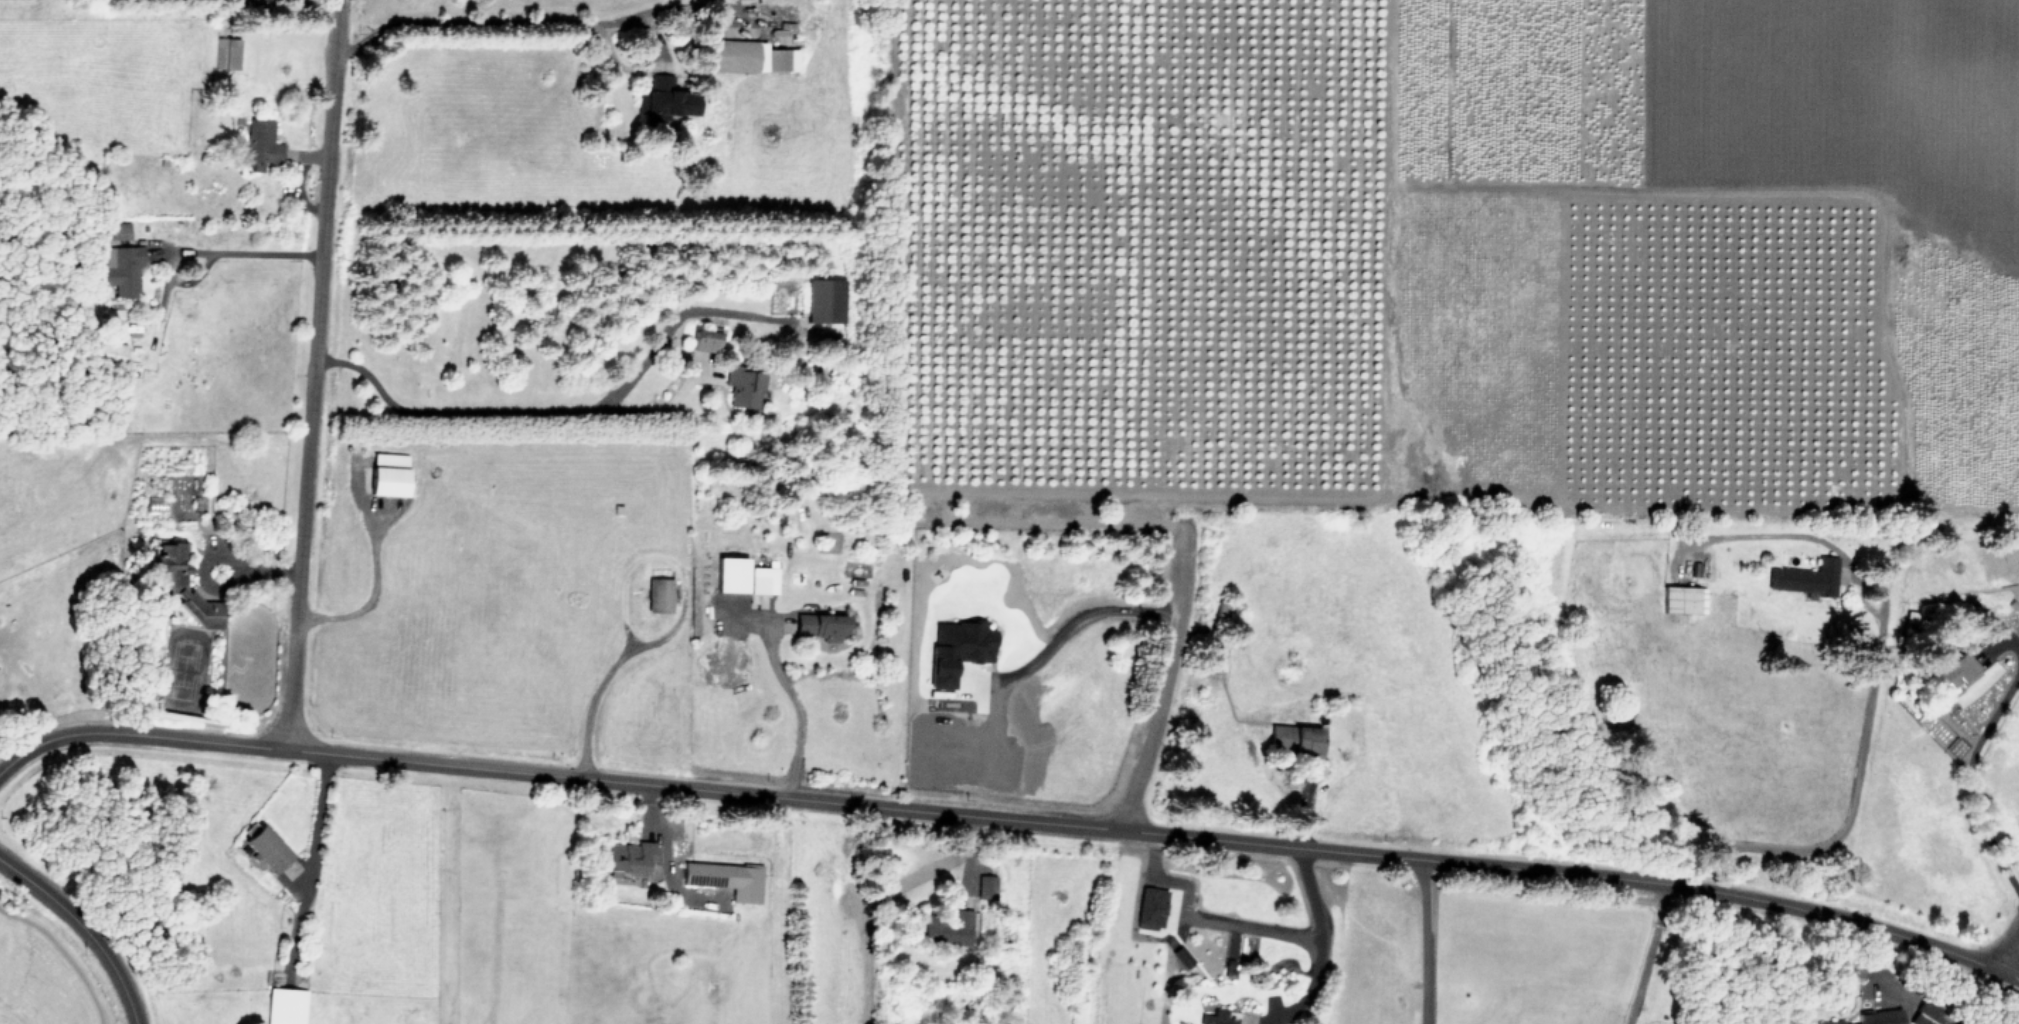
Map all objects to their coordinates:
road: (541, 20)
building: (227, 52)
building: (753, 56)
building: (667, 98)
building: (263, 144)
building: (120, 230)
road: (263, 257)
building: (122, 268)
building: (827, 300)
building: (707, 340)
building: (112, 351)
road: (312, 374)
building: (745, 388)
road: (504, 407)
building: (390, 474)
road: (207, 555)
road: (269, 571)
building: (734, 575)
building: (1807, 577)
building: (764, 580)
building: (172, 583)
road: (375, 589)
building: (660, 595)
building: (1685, 598)
road: (1076, 623)
building: (822, 626)
building: (960, 648)
building: (1959, 670)
road: (1165, 677)
road: (599, 687)
road: (801, 714)
building: (1297, 737)
road: (1967, 768)
road: (1853, 799)
road: (1010, 818)
road: (316, 824)
building: (269, 850)
building: (630, 858)
building: (728, 879)
building: (987, 886)
building: (1153, 907)
road: (1206, 918)
building: (949, 926)
road: (85, 927)
road: (1424, 941)
road: (1319, 944)
road: (2007, 947)
road: (1652, 953)
building: (1184, 956)
building: (287, 1005)
building: (1220, 1017)
building: (1883, 1017)
building: (1833, 1022)

